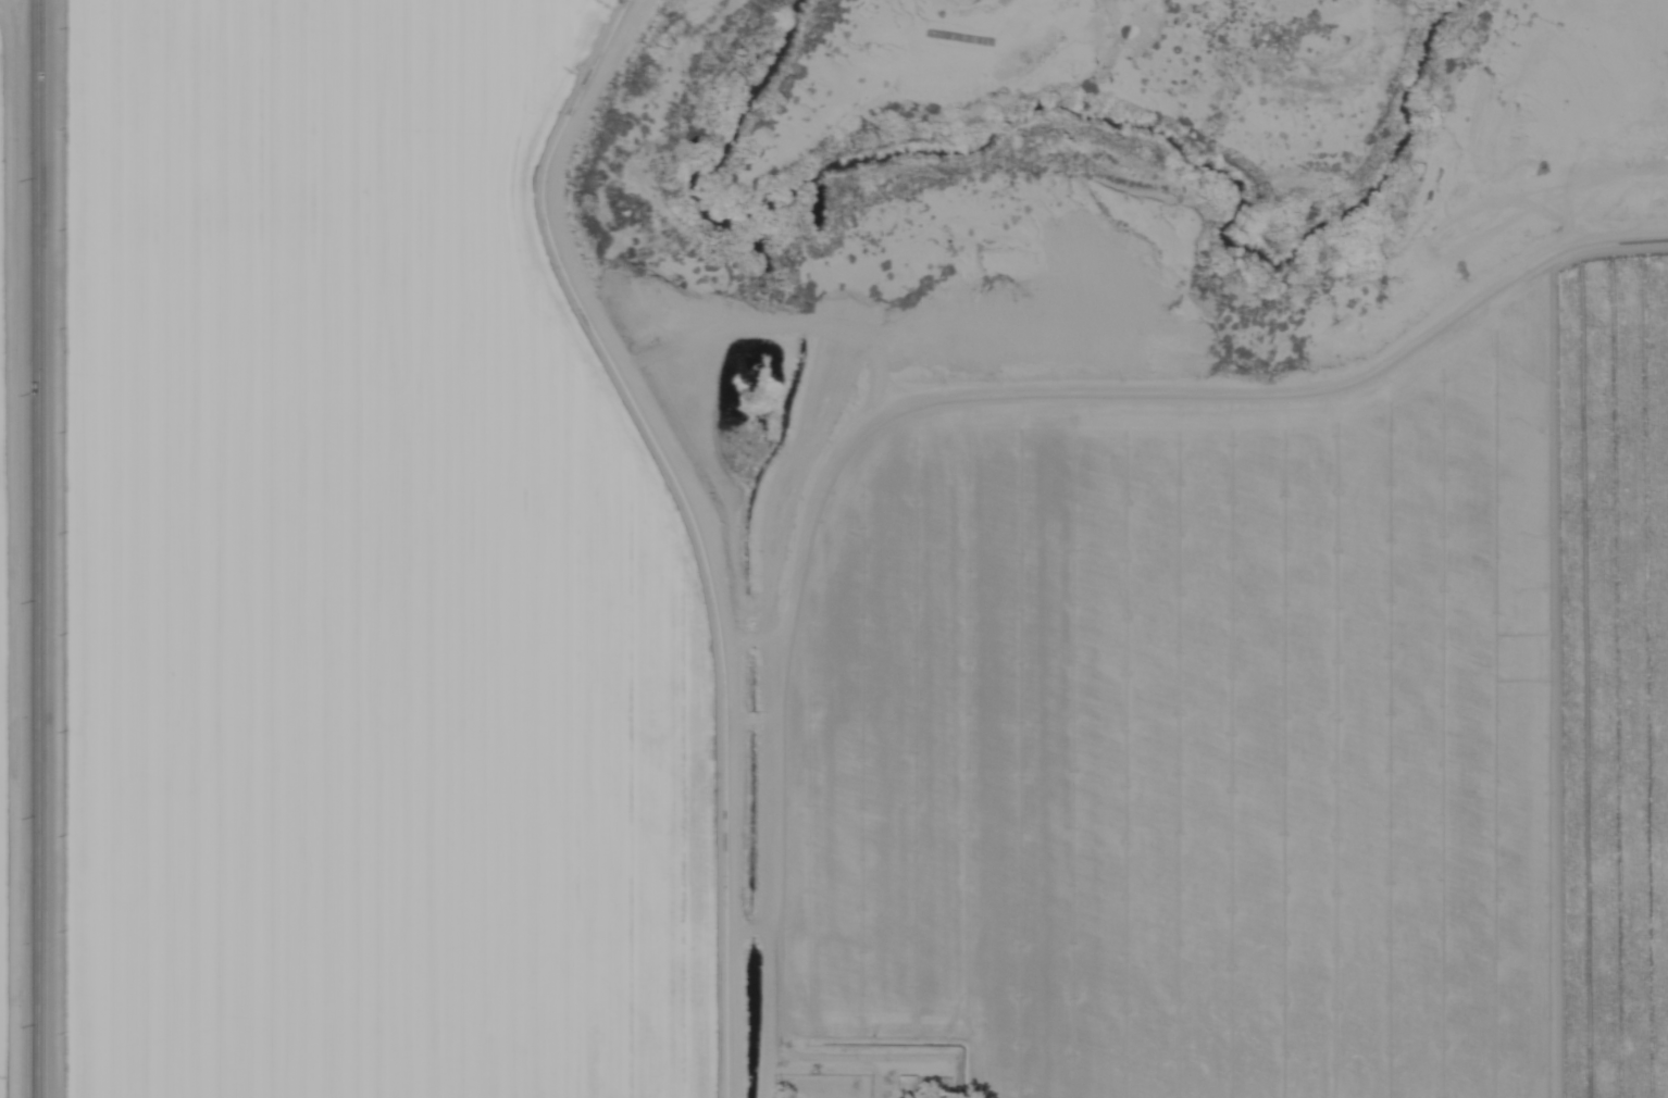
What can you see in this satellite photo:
river: (1062, 118)
road: (35, 549)
crop: (365, 582)
crop: (1, 648)
building: (899, 1087)

